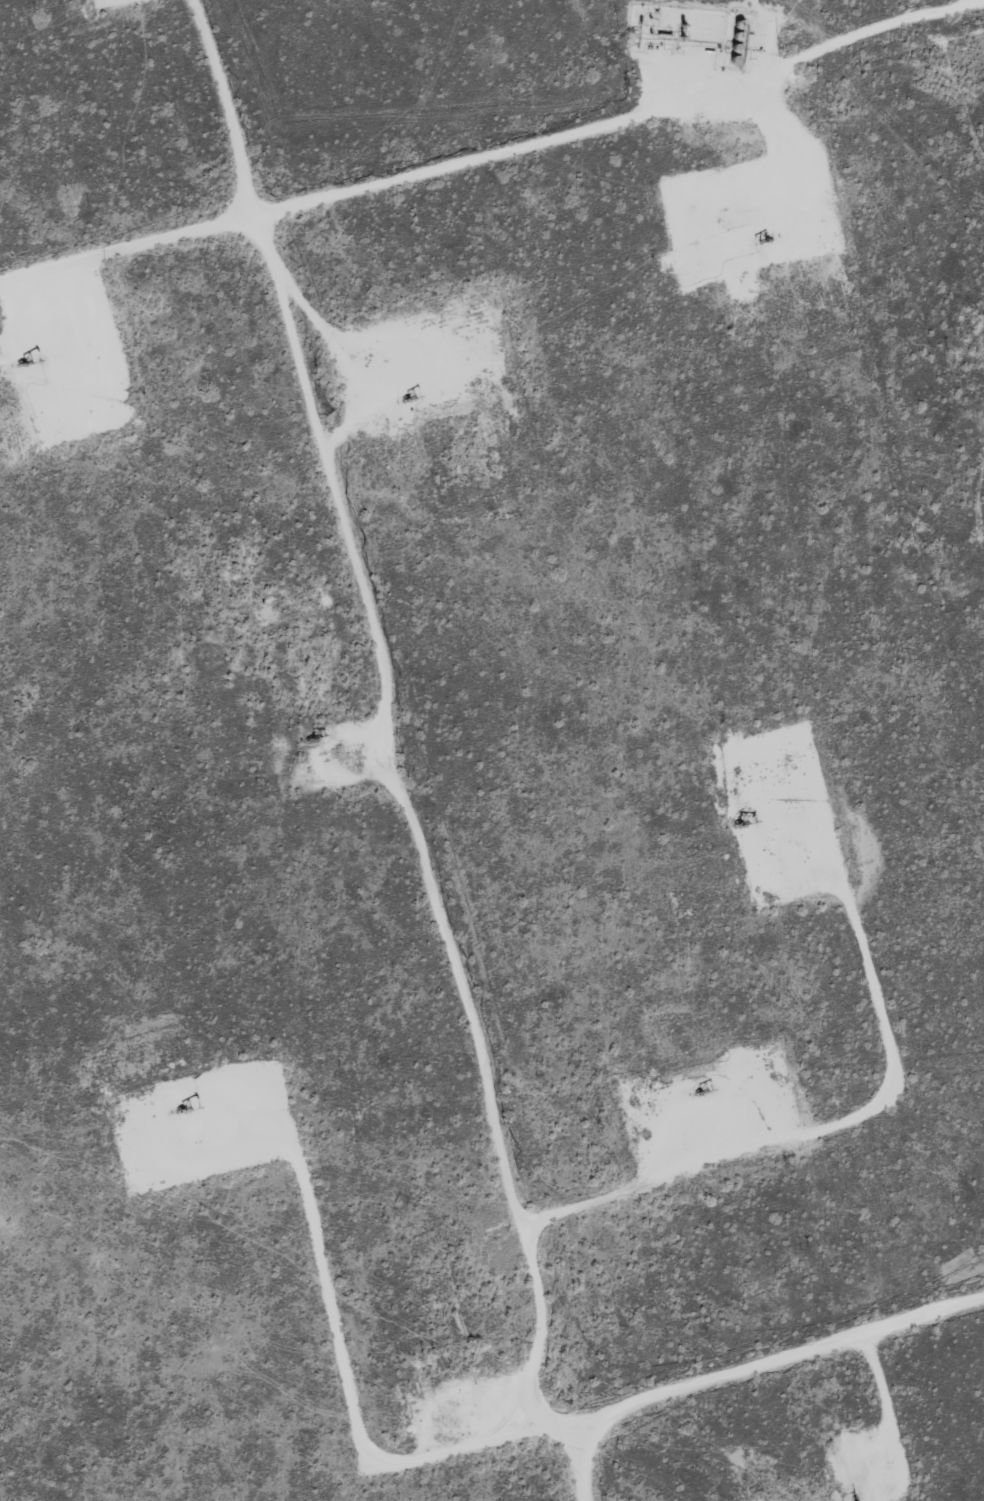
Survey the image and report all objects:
road: (391, 755)

